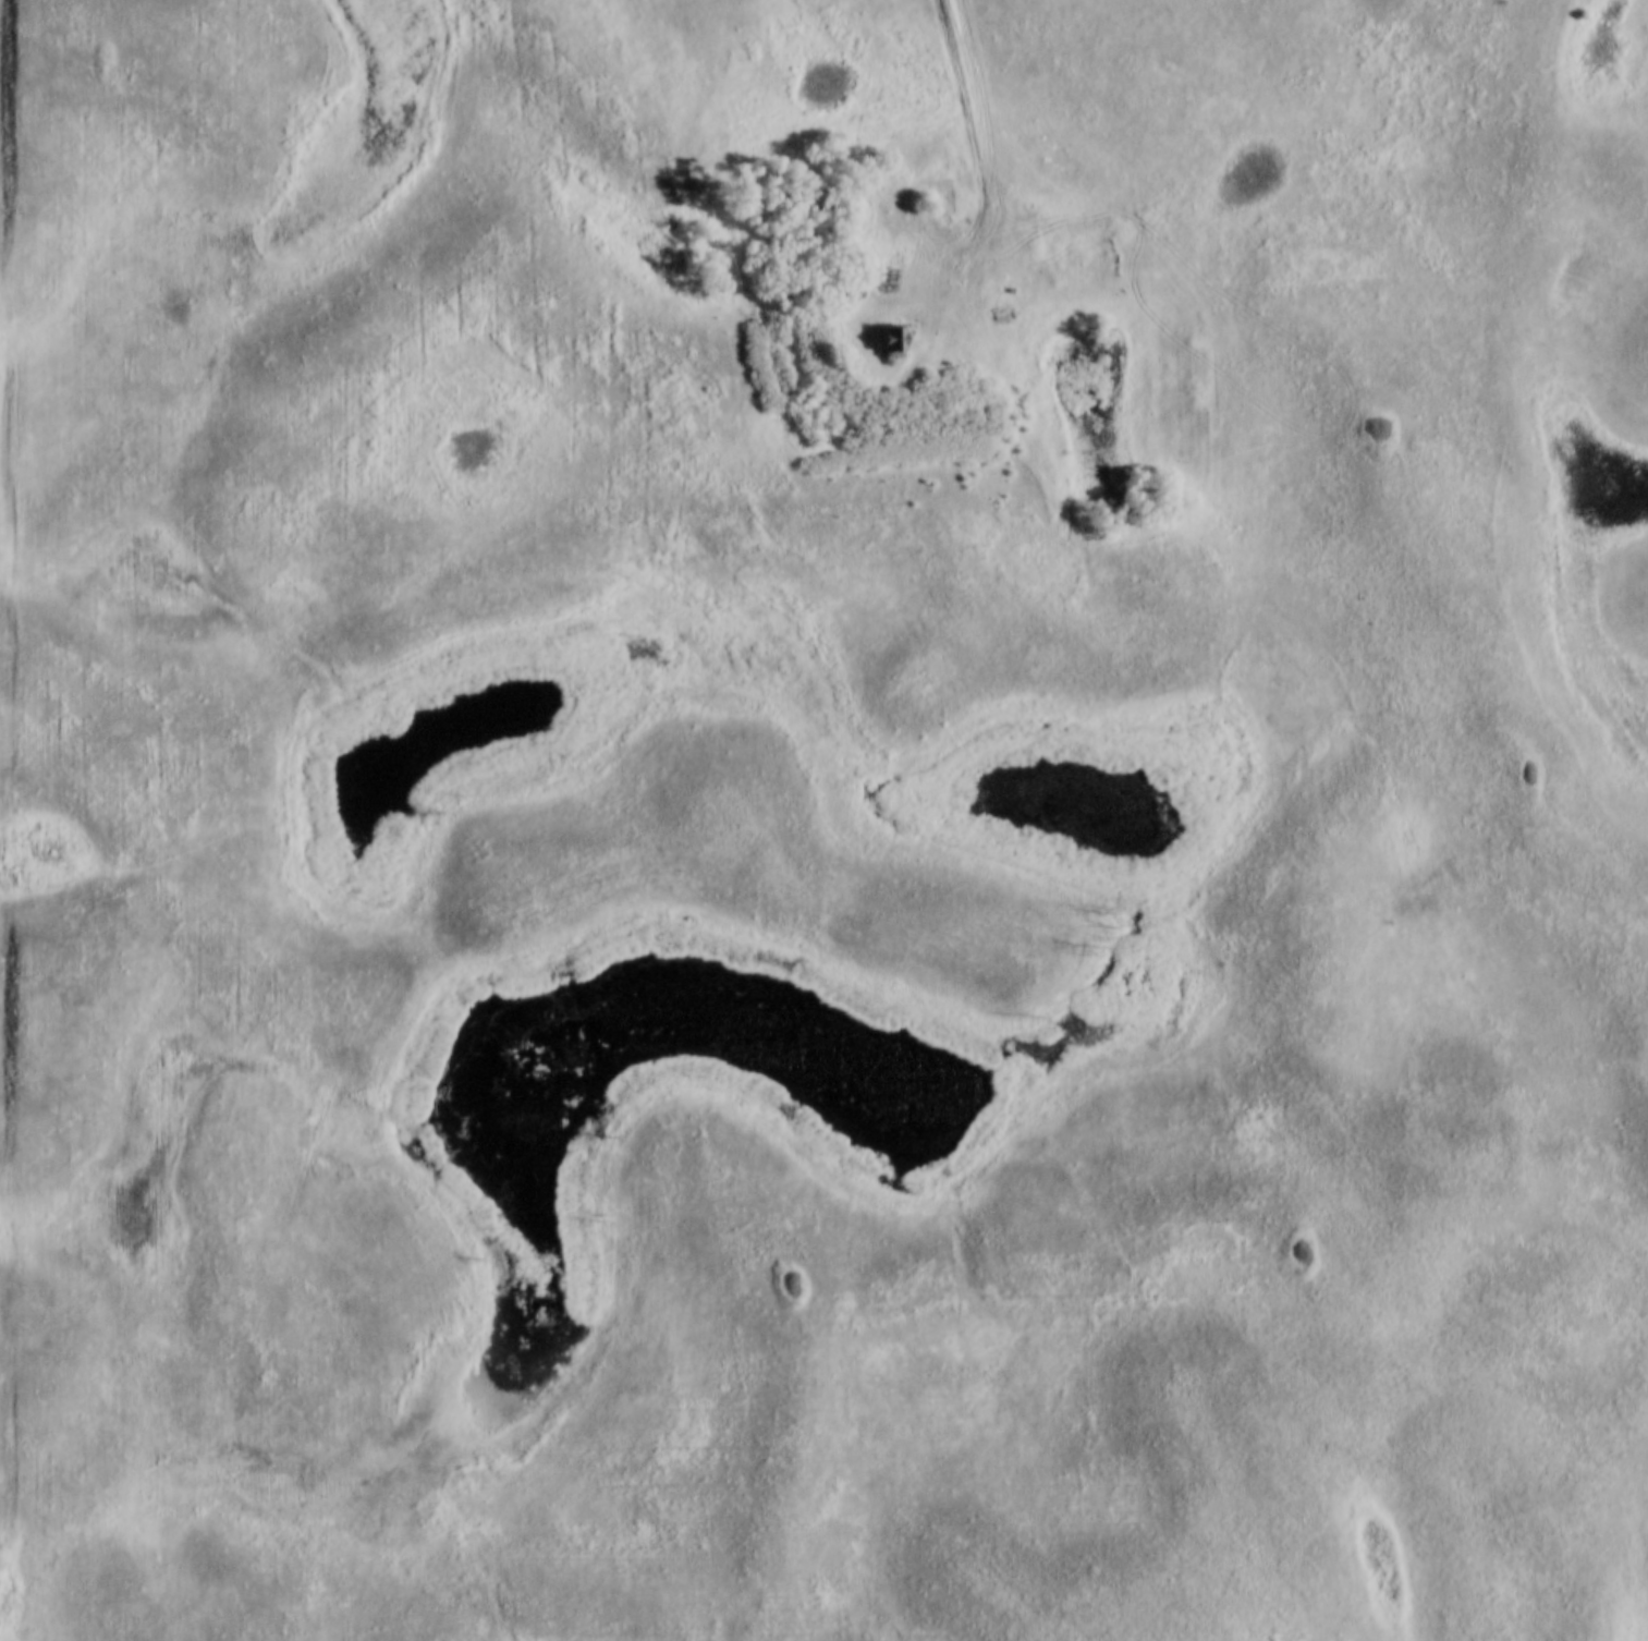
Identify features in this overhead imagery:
road: (973, 129)
building: (894, 343)

